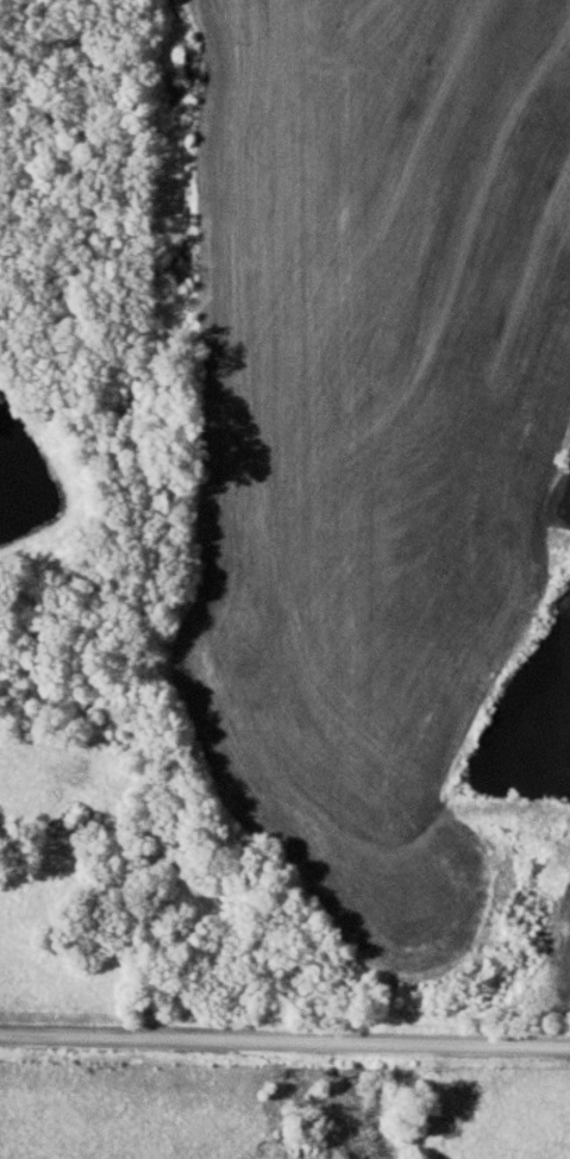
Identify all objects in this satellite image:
road: (284, 1036)

